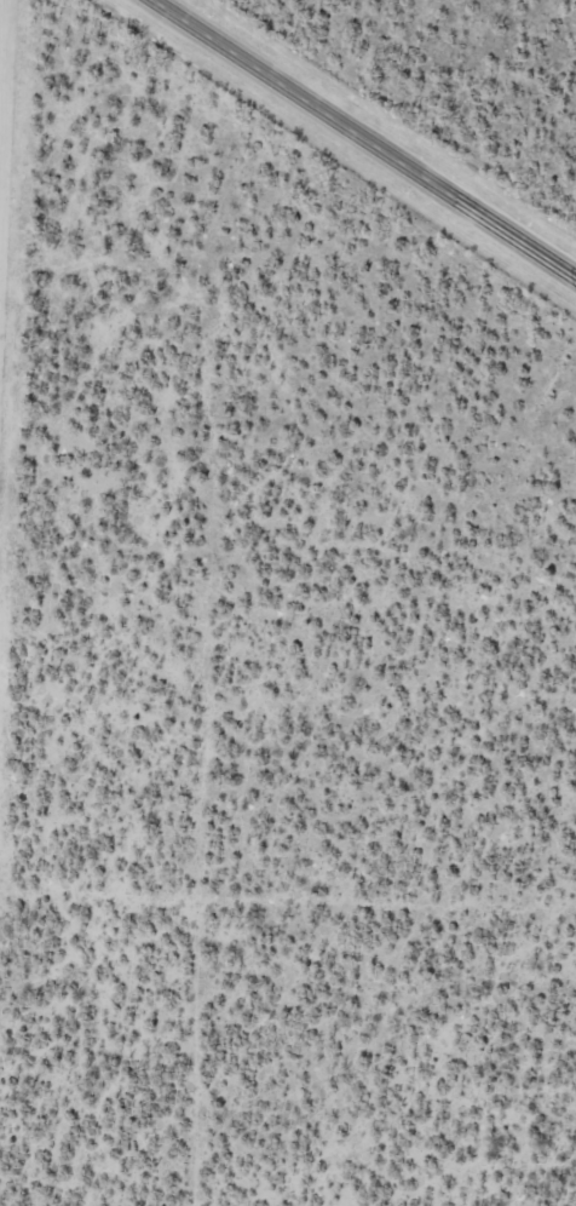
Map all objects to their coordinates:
road: (364, 140)

